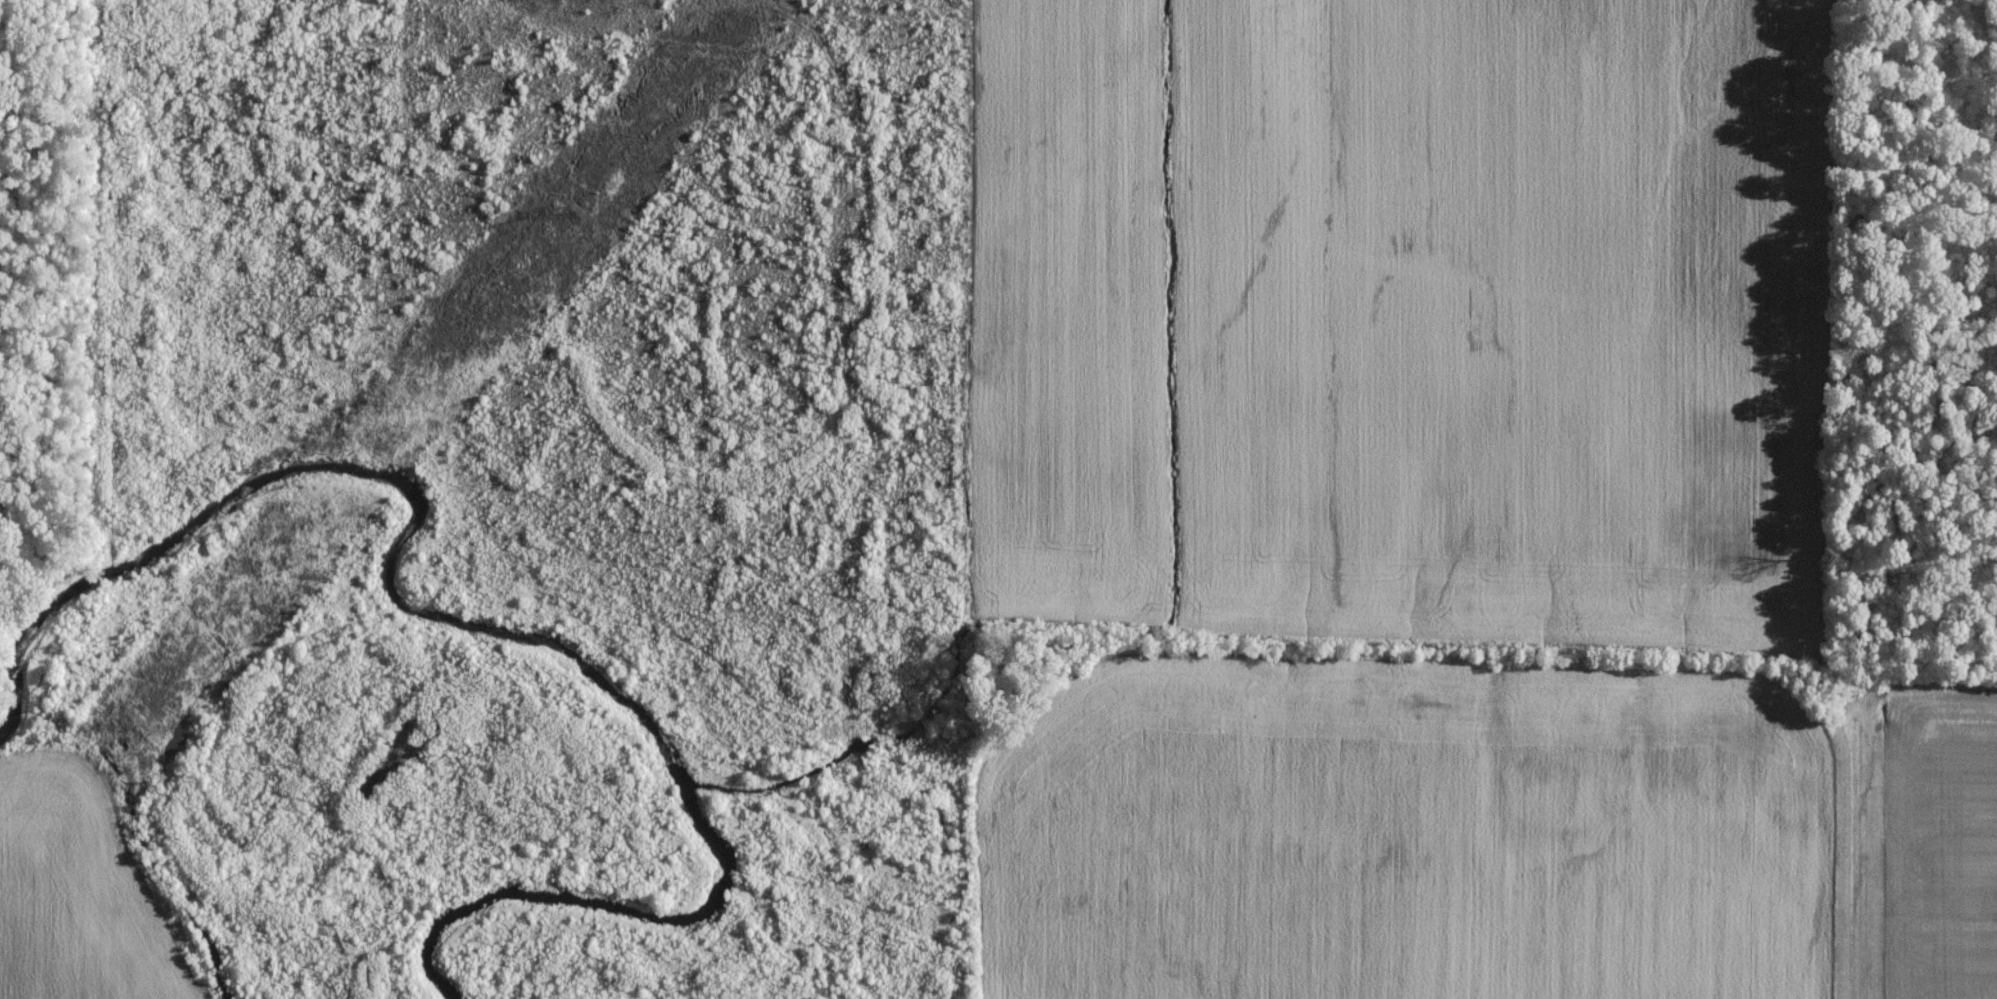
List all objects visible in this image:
power tower: (573, 216)
power tower: (137, 729)

